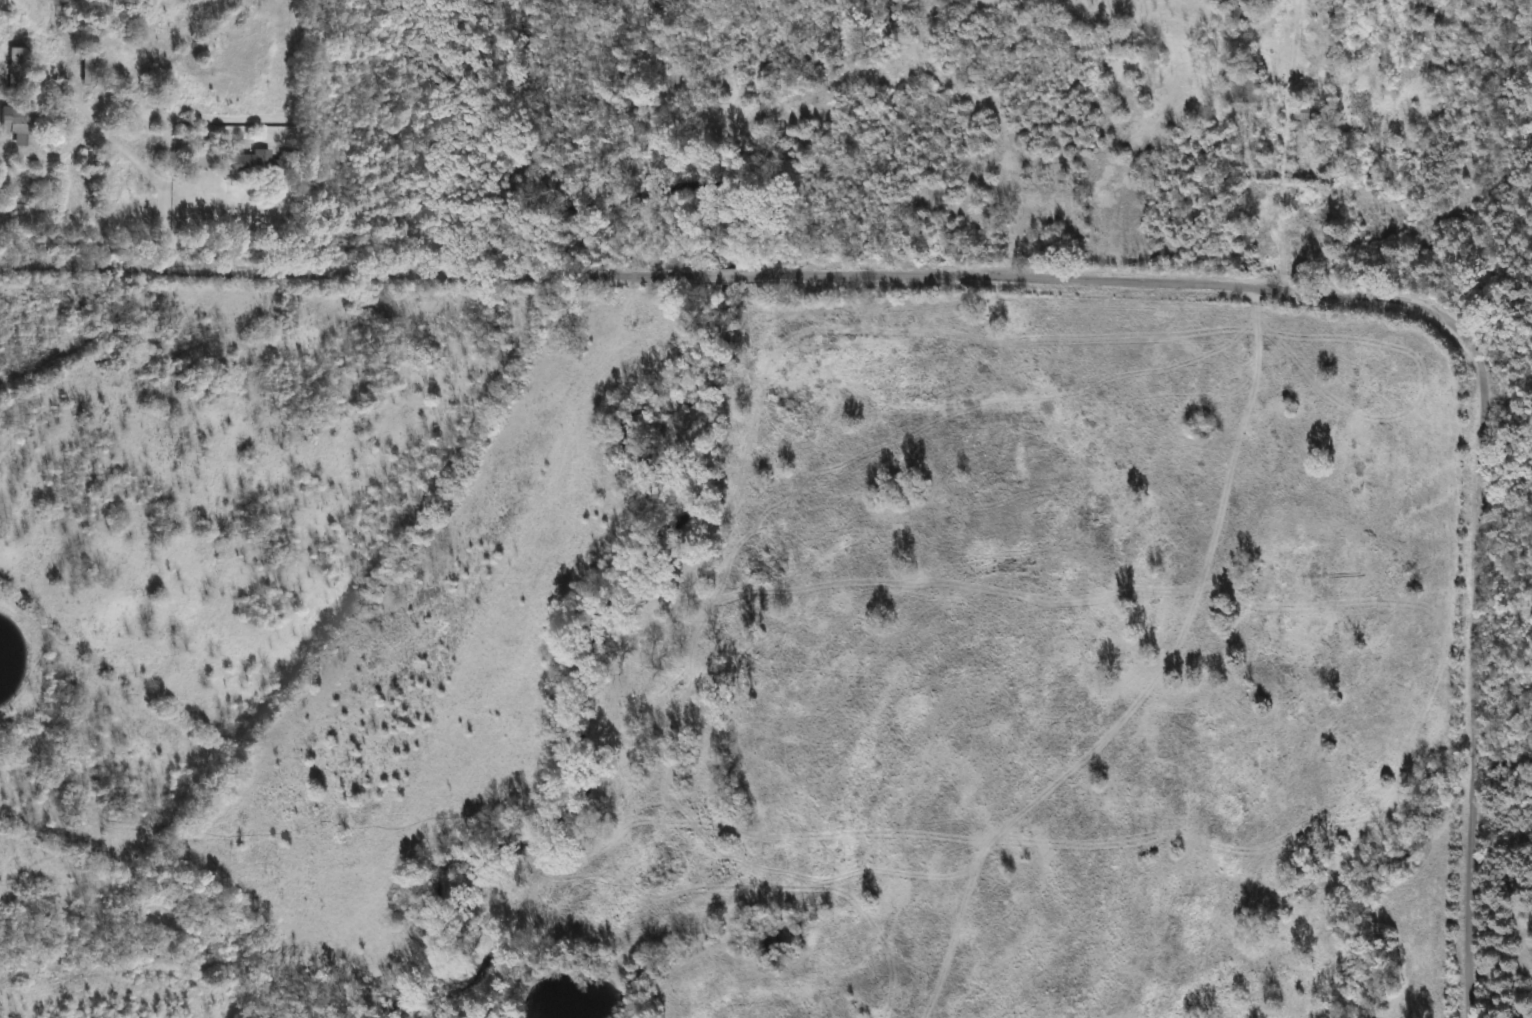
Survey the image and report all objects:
building: (14, 66)
building: (87, 68)
building: (1242, 91)
building: (15, 124)
building: (198, 159)
building: (1234, 161)
building: (252, 165)
road: (43, 181)
road: (262, 228)
road: (735, 275)
road: (1475, 672)

